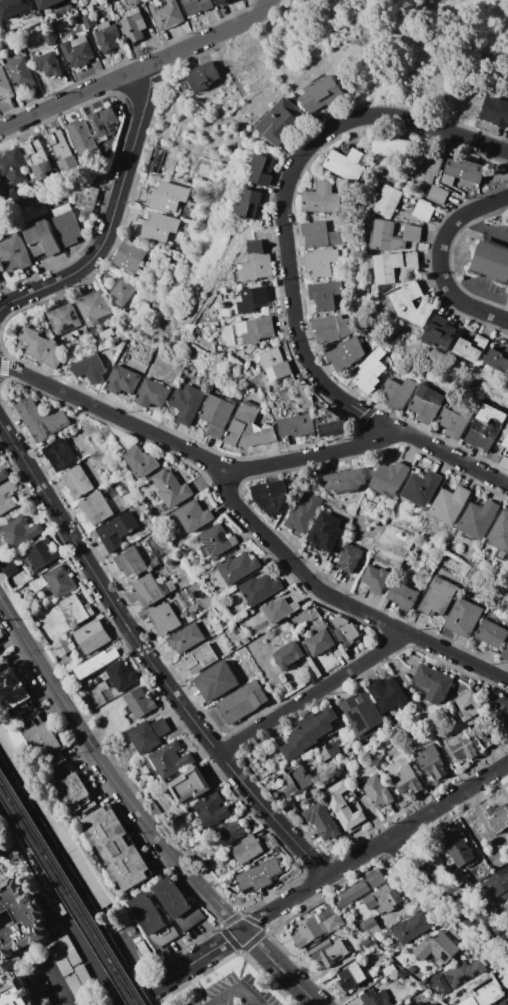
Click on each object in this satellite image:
building: (133, 2)
building: (223, 2)
building: (47, 4)
building: (196, 6)
building: (14, 7)
building: (165, 13)
building: (87, 21)
building: (133, 26)
building: (107, 36)
building: (49, 38)
building: (77, 52)
building: (48, 64)
road: (505, 70)
building: (21, 73)
road: (141, 73)
park: (343, 77)
building: (201, 81)
building: (5, 85)
building: (323, 95)
building: (495, 112)
road: (398, 119)
building: (281, 121)
building: (103, 123)
building: (80, 136)
building: (390, 147)
building: (61, 149)
building: (38, 159)
building: (349, 162)
building: (13, 166)
building: (427, 168)
building: (264, 170)
building: (463, 176)
building: (438, 195)
building: (163, 197)
building: (322, 199)
building: (0, 201)
building: (87, 201)
building: (389, 202)
building: (250, 205)
building: (423, 210)
building: (66, 222)
road: (114, 225)
road: (485, 225)
building: (152, 226)
building: (321, 236)
building: (395, 236)
building: (42, 240)
building: (14, 254)
building: (130, 257)
road: (441, 259)
building: (491, 260)
building: (321, 262)
building: (257, 263)
building: (393, 266)
building: (109, 274)
building: (122, 292)
building: (325, 295)
building: (251, 299)
building: (413, 305)
building: (94, 309)
building: (145, 311)
road: (295, 312)
building: (64, 319)
building: (332, 328)
building: (94, 330)
building: (256, 331)
building: (441, 333)
building: (107, 334)
building: (42, 347)
building: (472, 348)
building: (345, 353)
building: (498, 360)
building: (274, 363)
building: (90, 370)
building: (370, 371)
building: (123, 381)
building: (396, 393)
building: (152, 394)
building: (187, 403)
building: (426, 403)
building: (216, 414)
building: (455, 419)
building: (41, 420)
building: (330, 422)
building: (298, 426)
building: (248, 428)
building: (485, 428)
road: (373, 439)
building: (505, 450)
building: (60, 454)
building: (141, 461)
building: (3, 474)
building: (392, 478)
building: (346, 480)
building: (78, 482)
building: (422, 488)
building: (173, 489)
building: (270, 496)
building: (6, 497)
building: (450, 505)
building: (98, 508)
building: (303, 515)
building: (194, 516)
road: (250, 520)
building: (478, 520)
building: (117, 531)
building: (21, 532)
building: (325, 534)
building: (501, 535)
building: (216, 540)
building: (42, 553)
building: (350, 558)
building: (131, 563)
building: (155, 564)
building: (238, 567)
building: (9, 568)
building: (377, 579)
building: (61, 581)
building: (39, 583)
building: (260, 589)
building: (152, 590)
building: (403, 596)
building: (438, 597)
building: (76, 610)
building: (279, 610)
building: (193, 615)
building: (463, 617)
building: (165, 619)
building: (213, 630)
building: (345, 630)
building: (491, 636)
building: (91, 637)
building: (186, 638)
building: (320, 643)
building: (61, 648)
building: (505, 652)
building: (0, 654)
building: (288, 656)
road: (148, 657)
building: (199, 658)
building: (96, 663)
building: (96, 680)
building: (119, 680)
building: (216, 681)
building: (432, 684)
building: (14, 690)
road: (315, 693)
building: (389, 694)
building: (242, 701)
building: (140, 703)
building: (467, 705)
building: (498, 709)
building: (362, 714)
building: (309, 733)
building: (149, 734)
building: (43, 740)
building: (461, 746)
building: (334, 751)
building: (325, 754)
building: (169, 761)
building: (431, 761)
road: (112, 771)
building: (405, 777)
building: (297, 781)
building: (191, 786)
building: (74, 789)
building: (377, 791)
building: (507, 796)
building: (343, 807)
building: (213, 810)
building: (497, 817)
building: (322, 821)
building: (231, 832)
building: (0, 842)
road: (374, 847)
building: (116, 848)
building: (458, 849)
building: (247, 850)
building: (1, 854)
road: (62, 870)
building: (259, 875)
building: (498, 883)
building: (361, 888)
railway: (71, 889)
railway: (66, 897)
building: (383, 899)
road: (441, 901)
road: (74, 904)
building: (177, 904)
building: (59, 910)
building: (20, 919)
building: (153, 920)
building: (317, 927)
building: (370, 927)
building: (412, 927)
building: (133, 943)
building: (365, 946)
building: (437, 948)
building: (70, 950)
building: (329, 952)
building: (60, 958)
road: (186, 969)
road: (282, 969)
building: (389, 970)
building: (411, 970)
building: (464, 973)
building: (401, 974)
building: (352, 976)
building: (86, 981)
road: (52, 982)
building: (440, 984)
building: (77, 989)
road: (234, 990)
building: (486, 990)
building: (16, 992)
parking lot: (238, 992)
building: (376, 998)
building: (504, 1002)
building: (422, 1003)
parking lot: (187, 1004)
building: (411, 1004)
building: (431, 1004)

